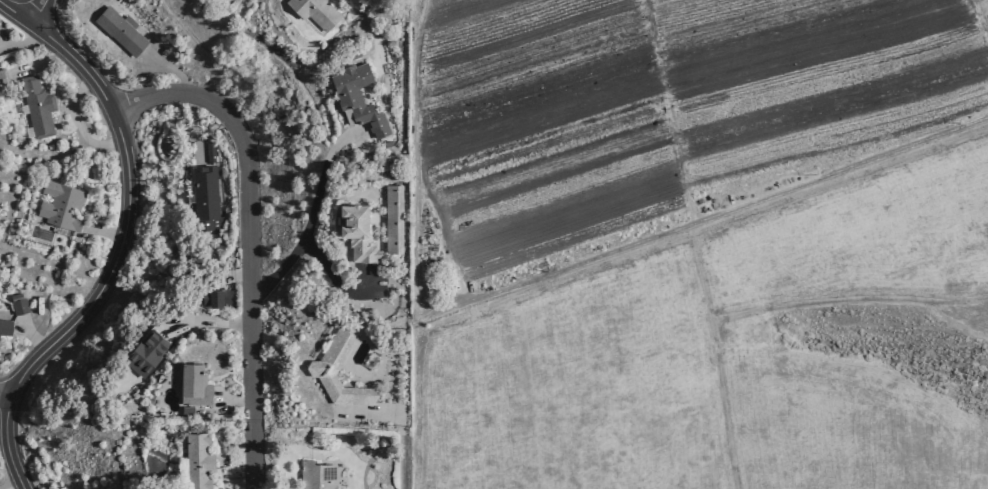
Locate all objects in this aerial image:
road: (38, 11)
building: (316, 11)
road: (40, 14)
building: (120, 31)
road: (4, 43)
road: (21, 43)
road: (85, 49)
road: (40, 64)
road: (172, 70)
building: (3, 78)
building: (358, 97)
building: (38, 106)
road: (124, 107)
crop: (654, 120)
road: (78, 124)
road: (127, 138)
building: (210, 148)
building: (205, 193)
building: (61, 205)
road: (313, 214)
building: (393, 219)
road: (105, 232)
building: (357, 232)
road: (249, 237)
road: (121, 241)
road: (629, 258)
road: (561, 267)
road: (234, 277)
road: (698, 279)
road: (339, 282)
building: (218, 297)
building: (20, 306)
road: (761, 309)
road: (97, 315)
road: (206, 322)
building: (5, 326)
road: (30, 335)
crop: (720, 350)
building: (146, 351)
building: (324, 363)
building: (194, 384)
road: (4, 395)
road: (235, 400)
building: (187, 410)
road: (400, 423)
road: (2, 436)
building: (199, 460)
building: (317, 475)
road: (8, 483)

